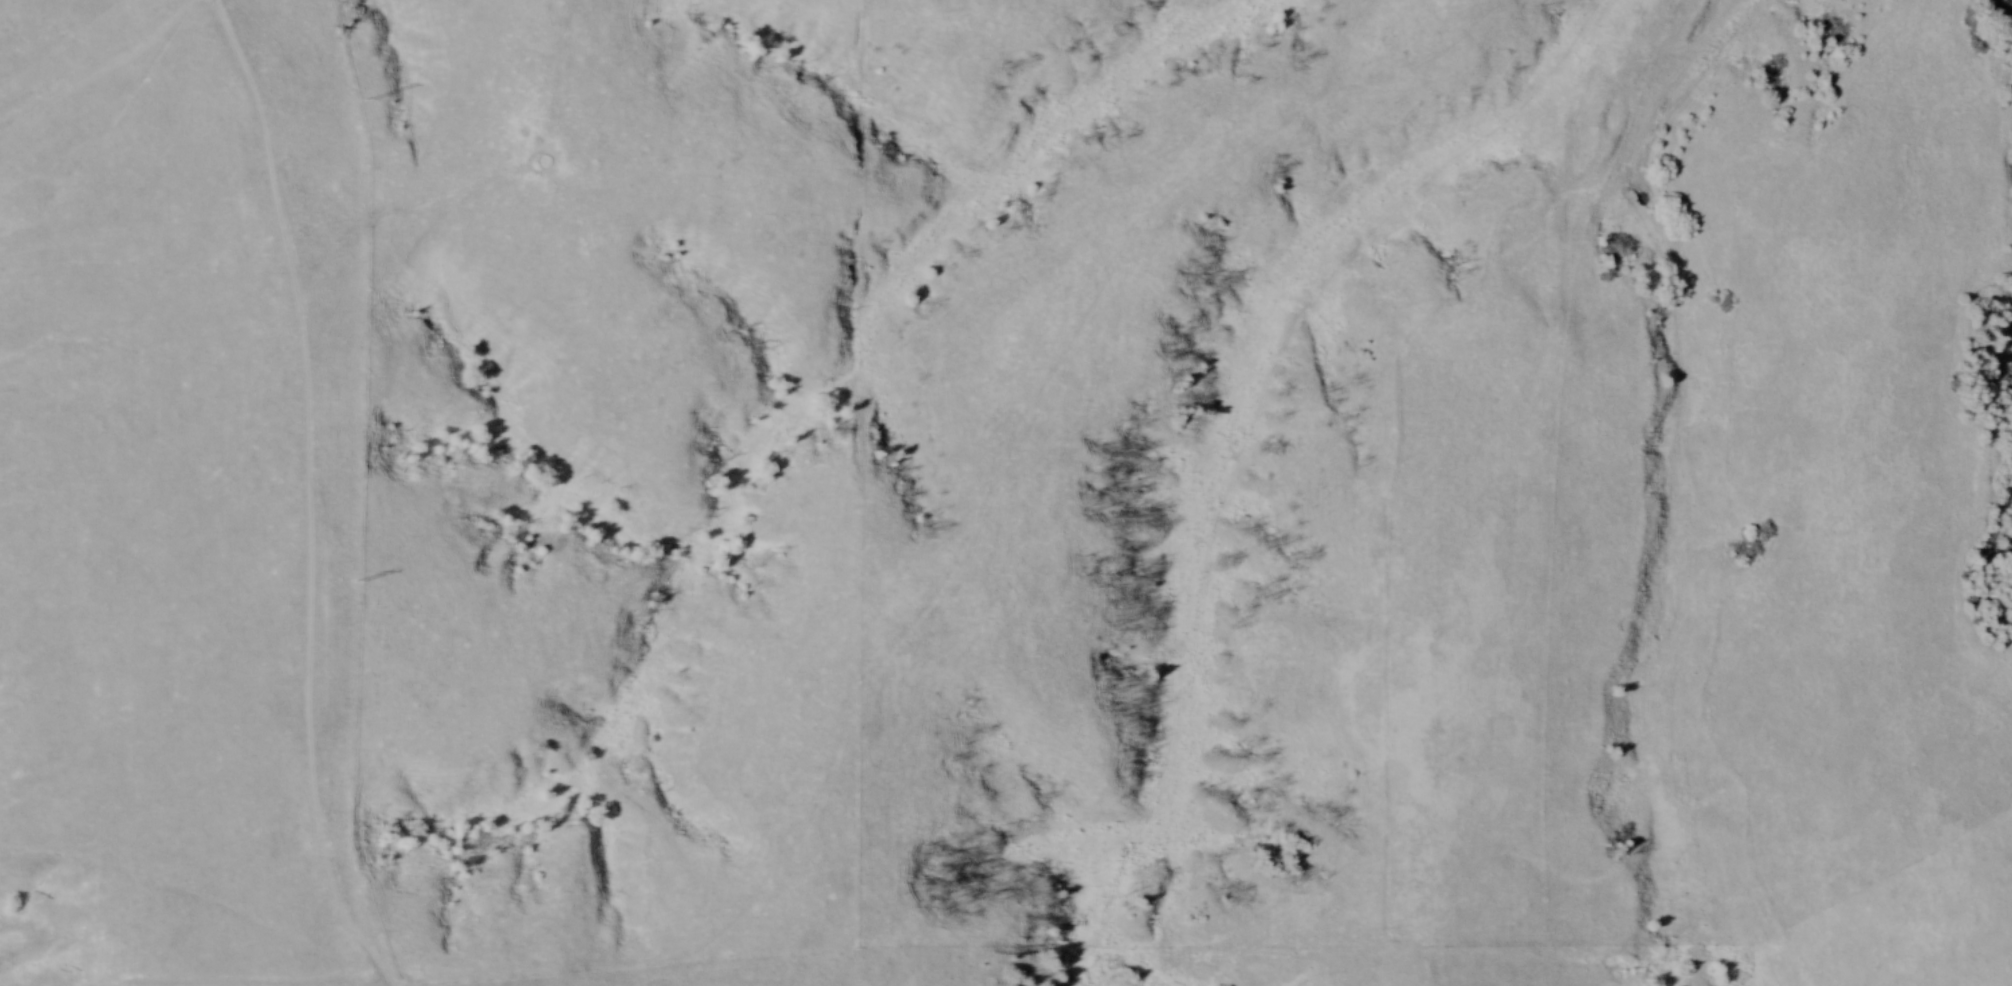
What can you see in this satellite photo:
power tower: (365, 101)
power tower: (358, 585)

